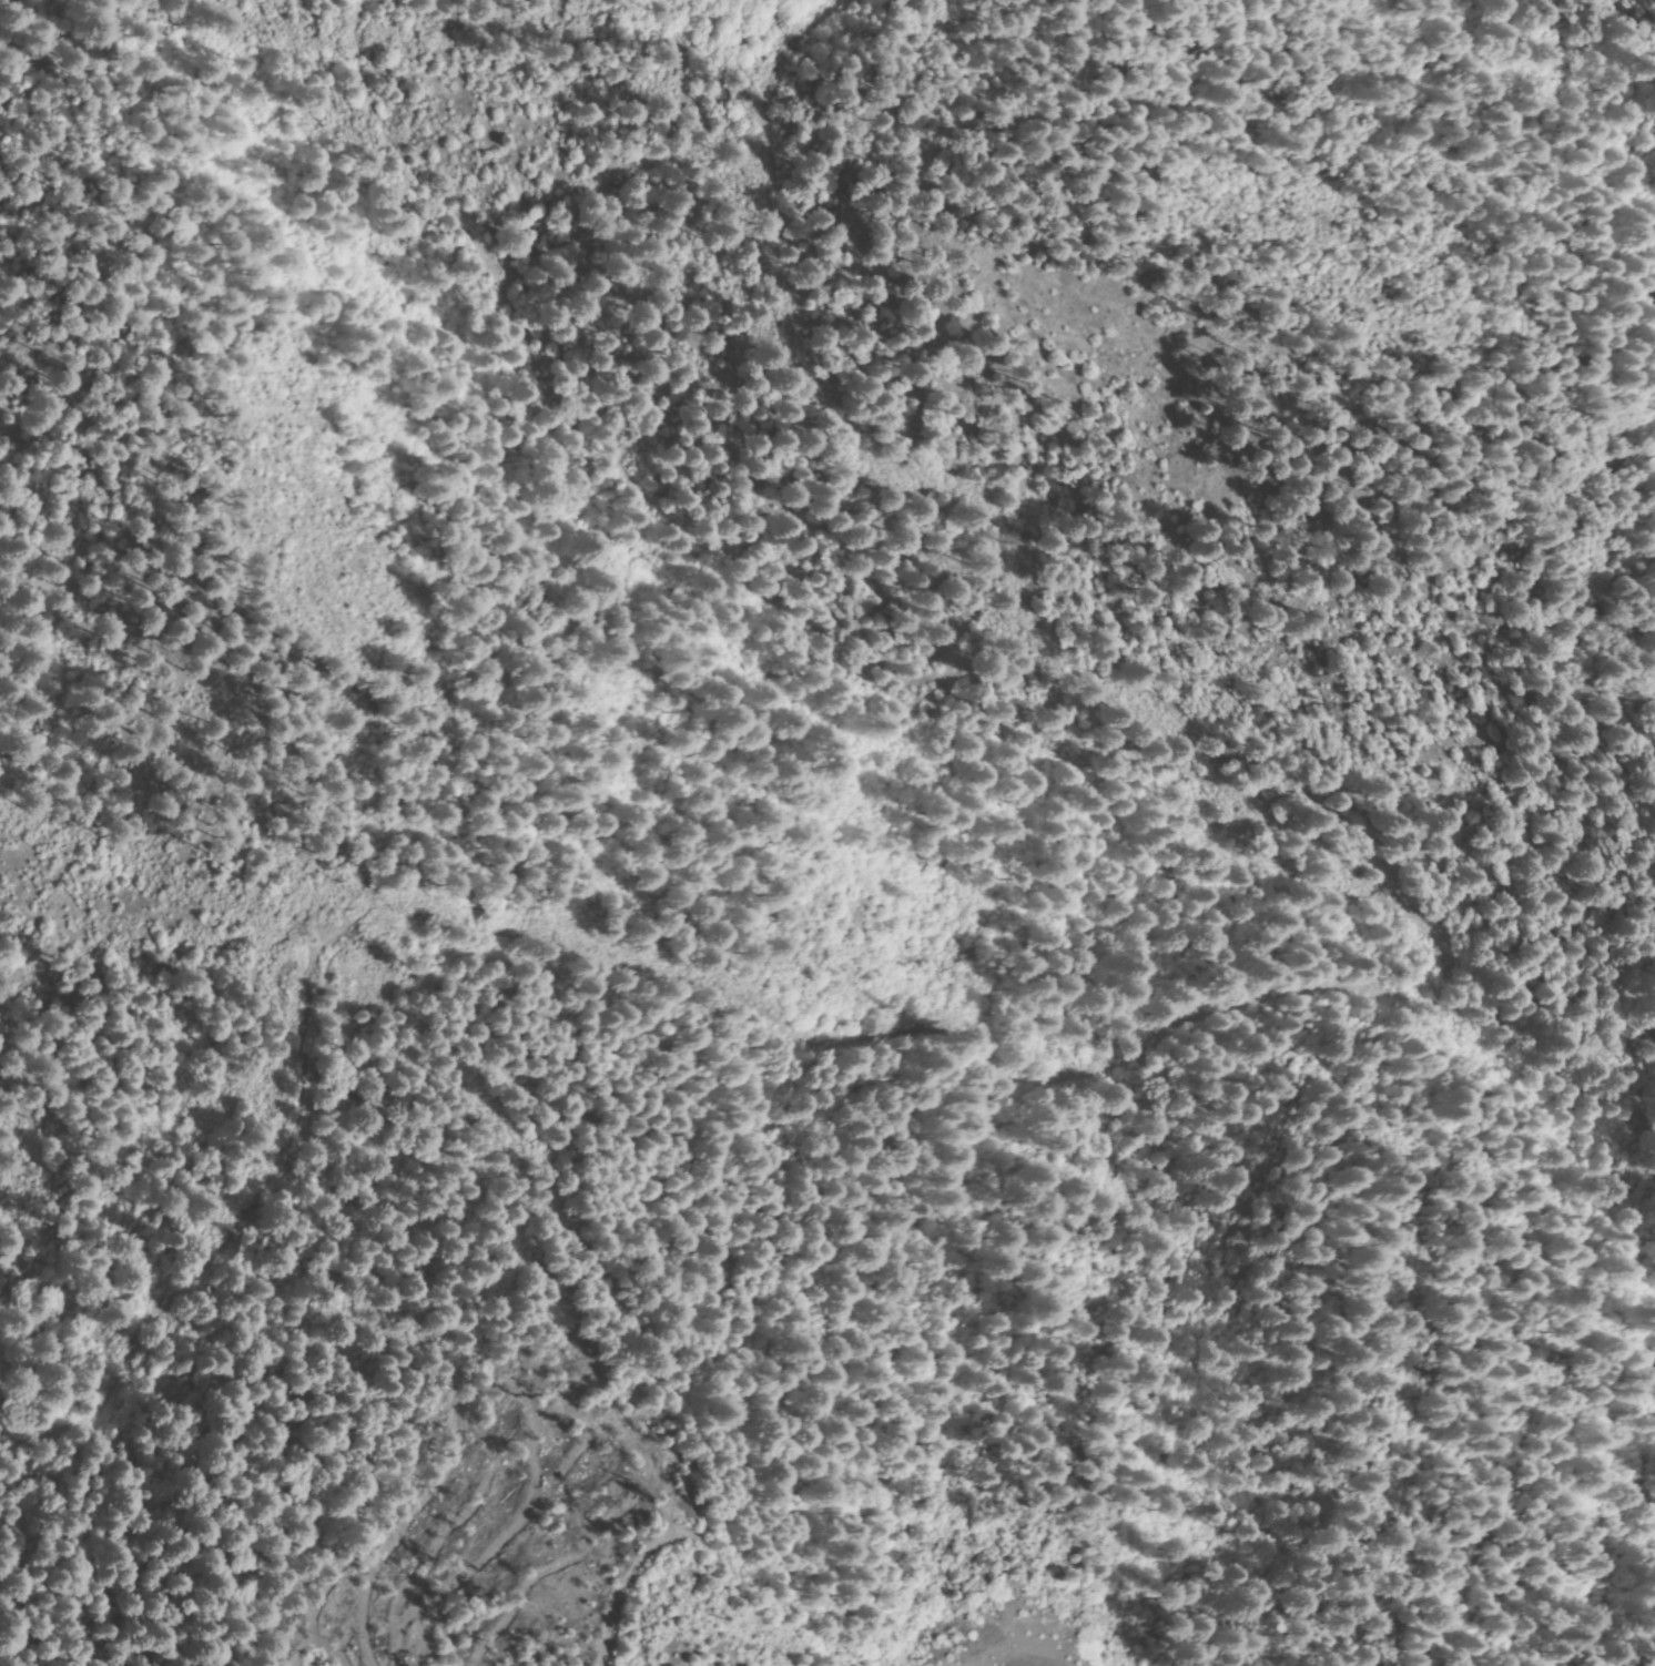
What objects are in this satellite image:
road: (1222, 16)
road: (1229, 1005)

